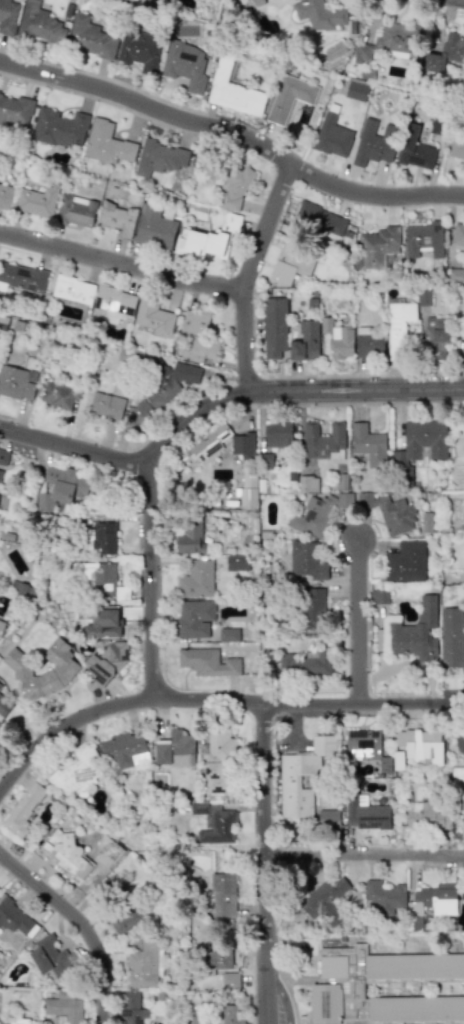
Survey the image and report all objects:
road: (462, 0)
building: (254, 2)
building: (319, 15)
building: (8, 16)
building: (40, 24)
building: (91, 36)
building: (139, 49)
building: (334, 50)
building: (445, 53)
building: (187, 65)
building: (233, 91)
building: (356, 91)
building: (289, 97)
building: (15, 109)
building: (60, 128)
road: (234, 131)
building: (332, 136)
building: (374, 142)
building: (107, 143)
building: (415, 149)
building: (456, 149)
building: (160, 158)
building: (230, 183)
building: (5, 195)
building: (37, 200)
building: (75, 210)
building: (117, 218)
building: (320, 220)
building: (154, 228)
building: (458, 236)
building: (212, 237)
building: (423, 239)
building: (376, 247)
road: (119, 264)
building: (290, 265)
road: (245, 272)
building: (456, 275)
building: (21, 278)
building: (73, 289)
building: (112, 304)
building: (153, 318)
building: (3, 322)
building: (273, 326)
building: (398, 327)
building: (196, 336)
building: (338, 338)
building: (436, 339)
building: (305, 342)
building: (368, 343)
building: (15, 383)
building: (168, 384)
road: (290, 390)
building: (57, 395)
road: (354, 404)
building: (106, 405)
building: (278, 434)
building: (323, 441)
building: (368, 444)
building: (208, 445)
building: (243, 445)
road: (73, 447)
building: (419, 447)
building: (3, 457)
building: (0, 473)
building: (307, 483)
building: (62, 488)
building: (247, 489)
building: (345, 499)
building: (397, 515)
building: (311, 517)
building: (426, 522)
building: (104, 538)
building: (190, 538)
building: (307, 561)
building: (405, 562)
building: (236, 563)
building: (196, 580)
road: (149, 584)
building: (24, 590)
building: (378, 596)
building: (311, 606)
building: (195, 618)
road: (359, 619)
building: (100, 621)
building: (1, 626)
building: (416, 632)
building: (228, 634)
building: (451, 638)
building: (106, 661)
building: (208, 662)
building: (305, 664)
building: (64, 669)
building: (0, 686)
road: (215, 701)
building: (3, 706)
building: (421, 745)
building: (366, 746)
building: (124, 750)
building: (174, 750)
building: (217, 759)
building: (398, 760)
building: (77, 772)
building: (302, 777)
building: (457, 779)
building: (24, 807)
building: (365, 814)
building: (328, 815)
building: (427, 818)
building: (215, 823)
building: (109, 849)
building: (67, 853)
road: (364, 854)
road: (265, 862)
building: (223, 895)
building: (323, 896)
building: (384, 896)
building: (432, 902)
building: (14, 917)
road: (82, 921)
building: (126, 922)
building: (53, 958)
building: (215, 961)
building: (143, 965)
road: (281, 978)
building: (229, 980)
building: (388, 989)
building: (64, 1007)
building: (129, 1008)
building: (231, 1014)
building: (196, 1016)
building: (13, 1021)

